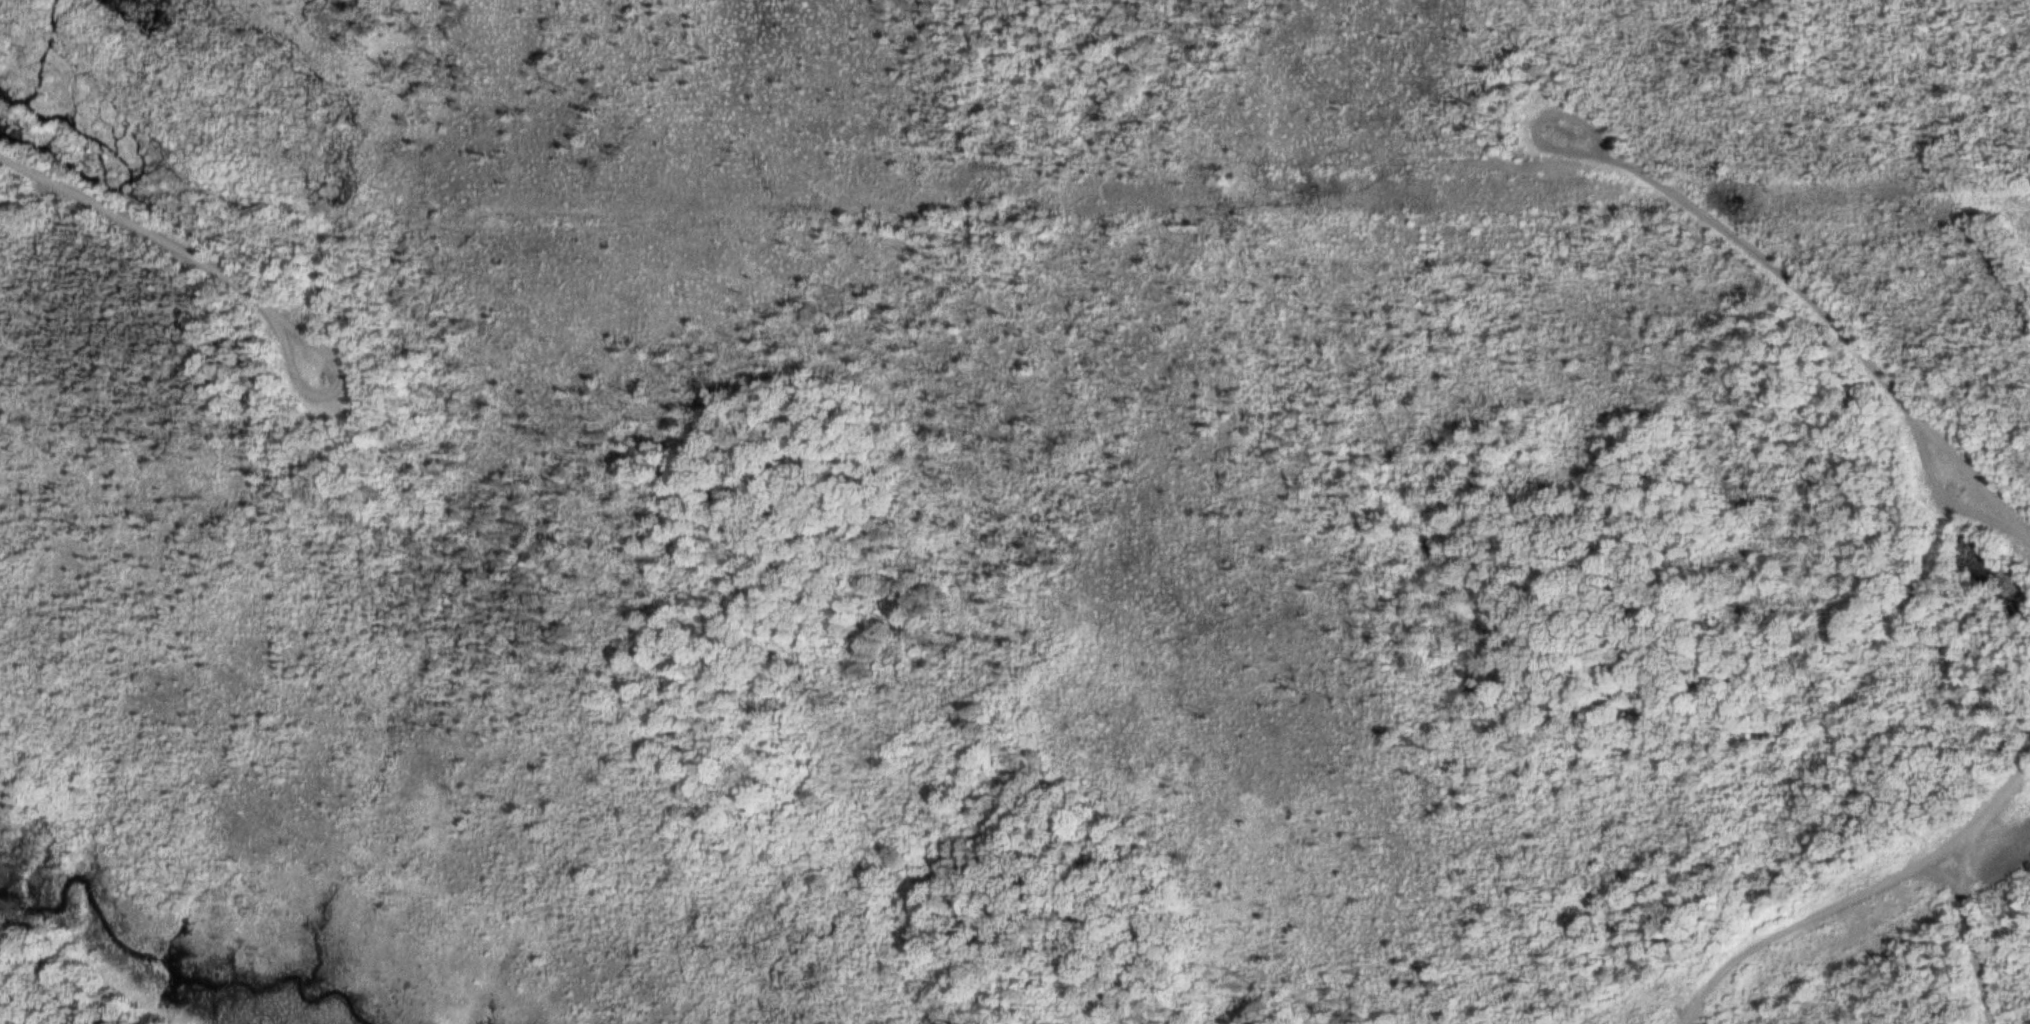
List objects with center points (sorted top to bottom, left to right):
road: (1537, 125)
road: (140, 227)
road: (1838, 334)
road: (331, 389)
road: (1942, 870)
road: (1861, 892)
road: (1970, 927)

